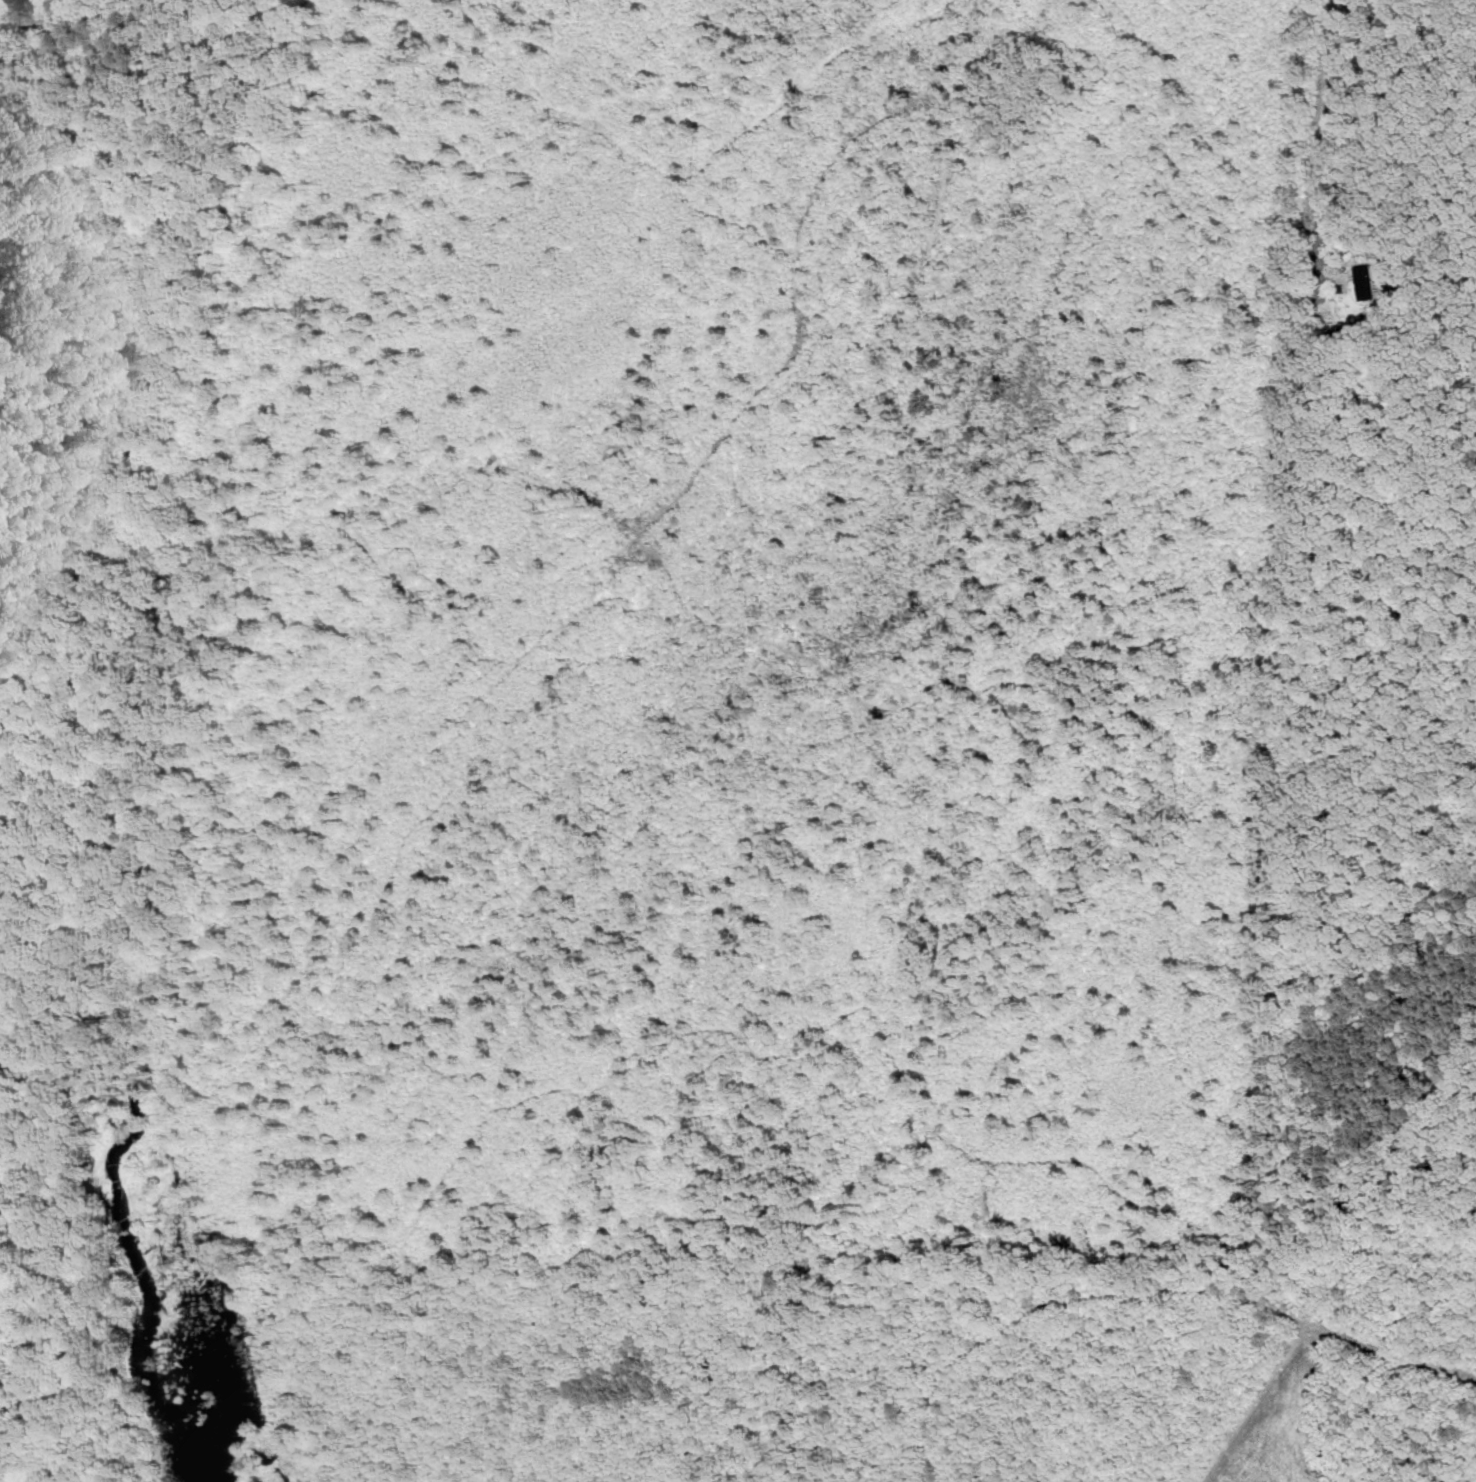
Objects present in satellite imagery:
road: (1327, 121)
building: (1364, 282)

